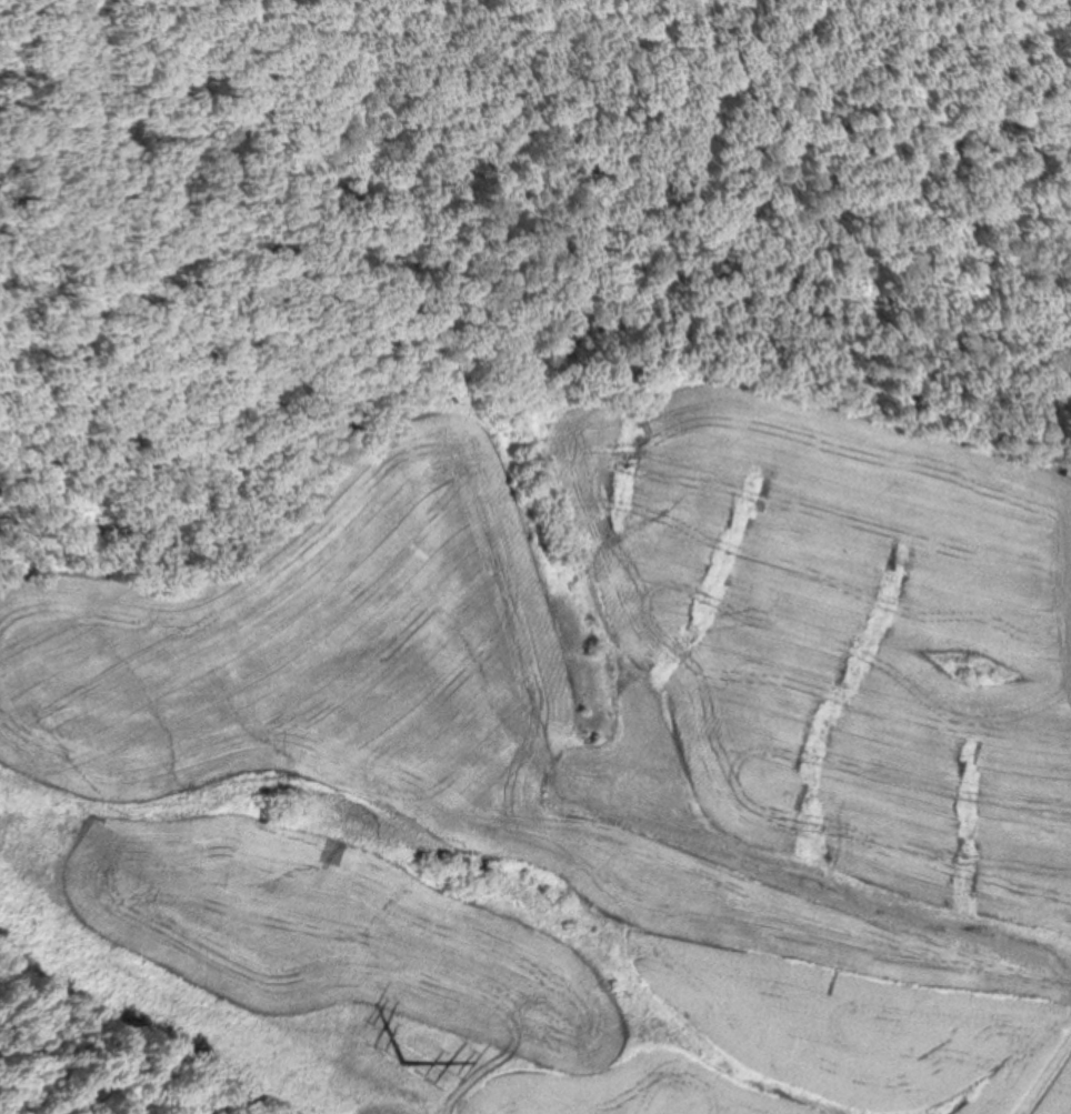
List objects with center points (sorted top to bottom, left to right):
power tower: (409, 1055)

